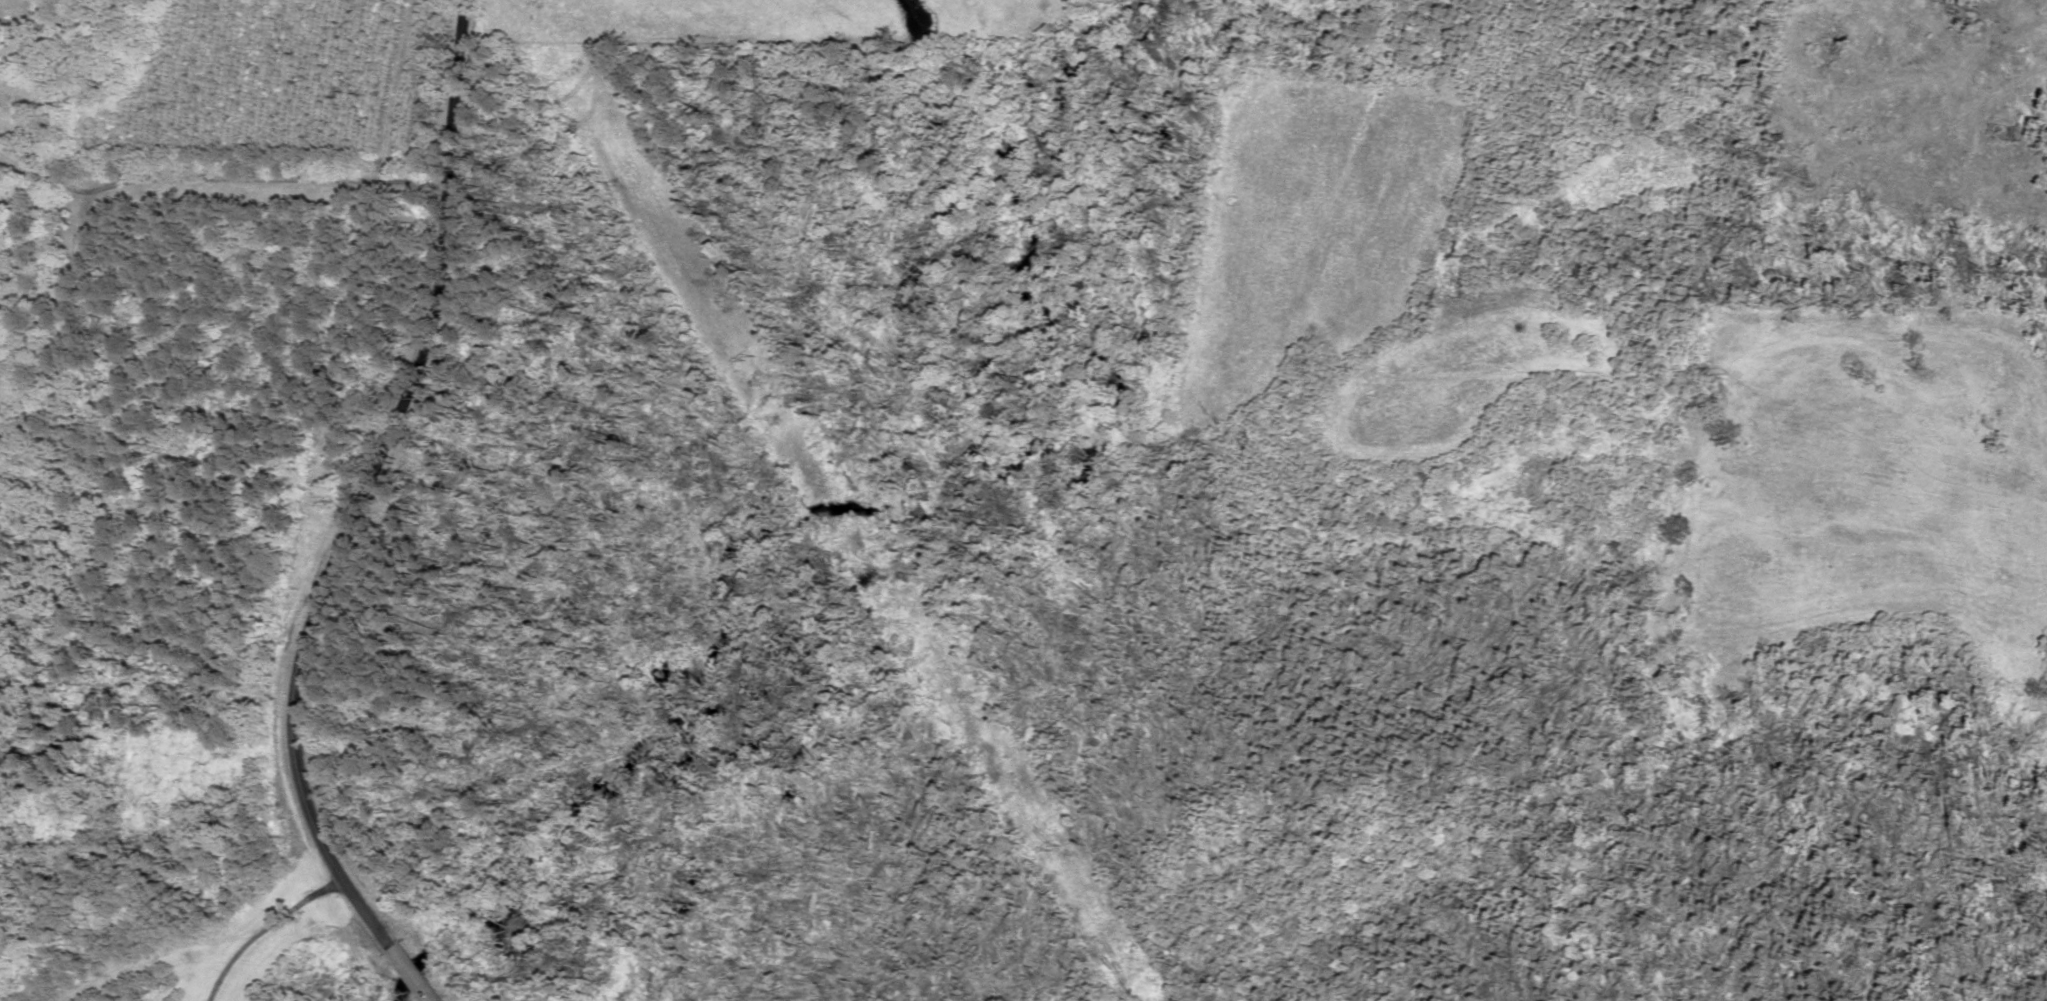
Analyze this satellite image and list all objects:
road: (218, 176)
road: (347, 516)
road: (262, 929)

